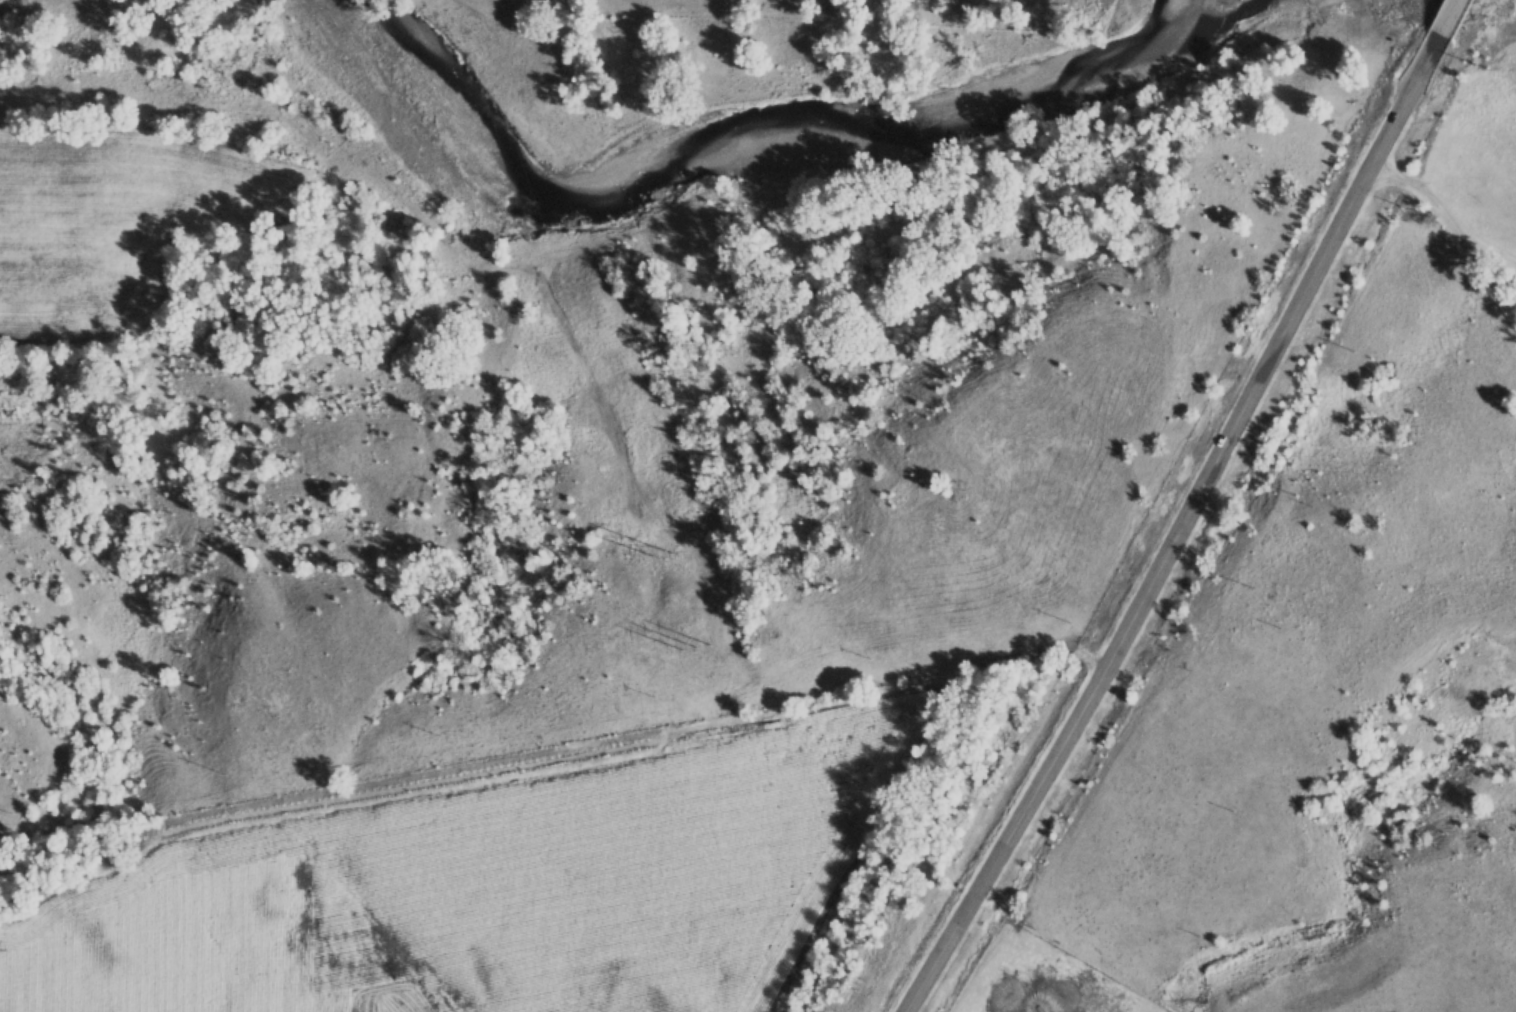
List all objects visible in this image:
river: (753, 165)
road: (1198, 509)
power tower: (699, 646)

